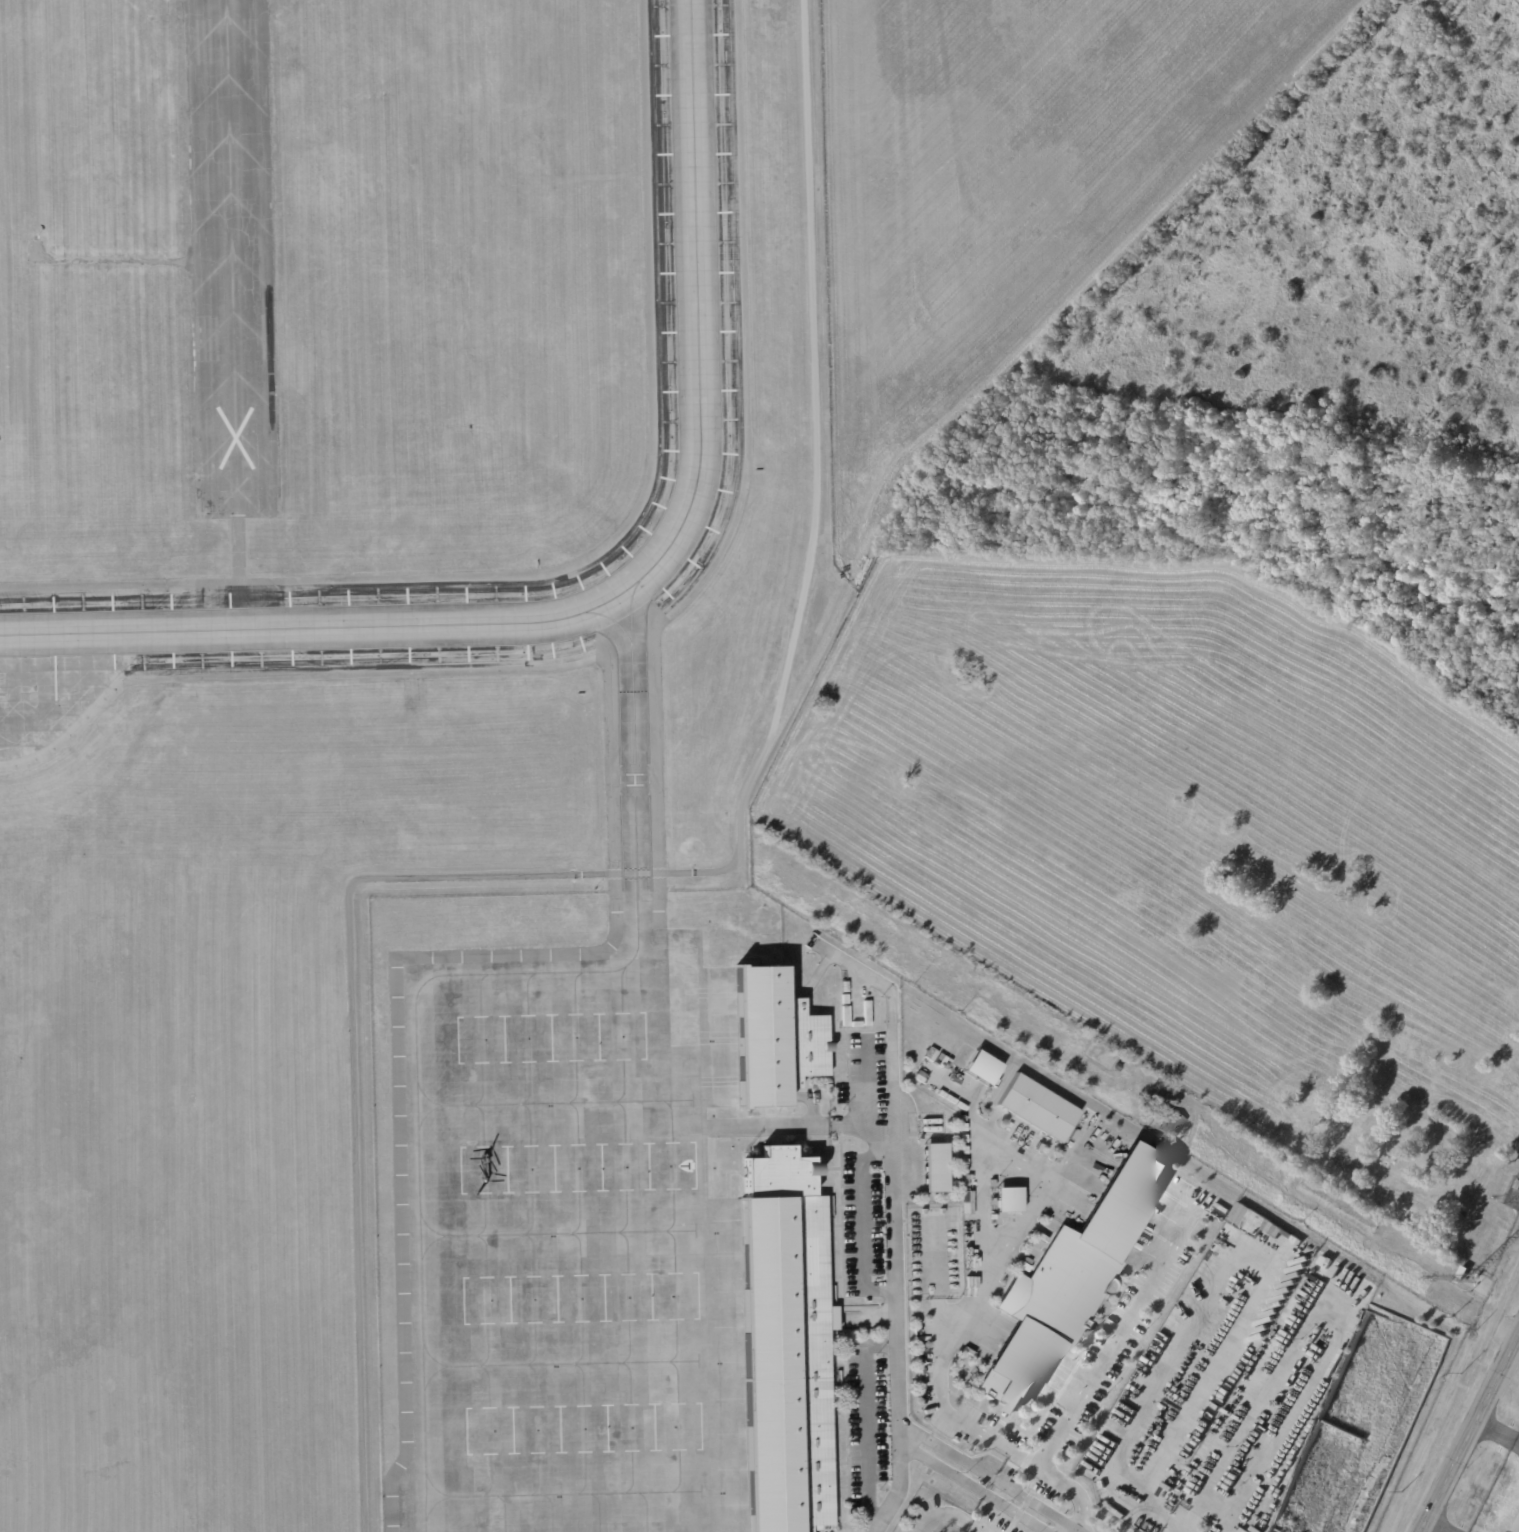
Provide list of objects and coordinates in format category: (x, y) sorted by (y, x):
airport taxiway: (617, 594)
airport taxiway: (613, 620)
airport: (759, 766)
airport taxiway: (446, 973)
building: (774, 1038)
building: (1119, 1066)
building: (981, 1067)
building: (1039, 1108)
building: (1174, 1122)
building: (1027, 1147)
building: (939, 1166)
building: (1517, 1185)
road: (893, 1187)
building: (1010, 1200)
building: (1249, 1221)
building: (1464, 1273)
building: (1075, 1276)
road: (1339, 1335)
building: (786, 1344)
road: (1466, 1427)
road: (946, 1449)
road: (867, 1466)
road: (941, 1466)
road: (1036, 1504)
road: (1015, 1512)
road: (945, 1516)
road: (979, 1529)

